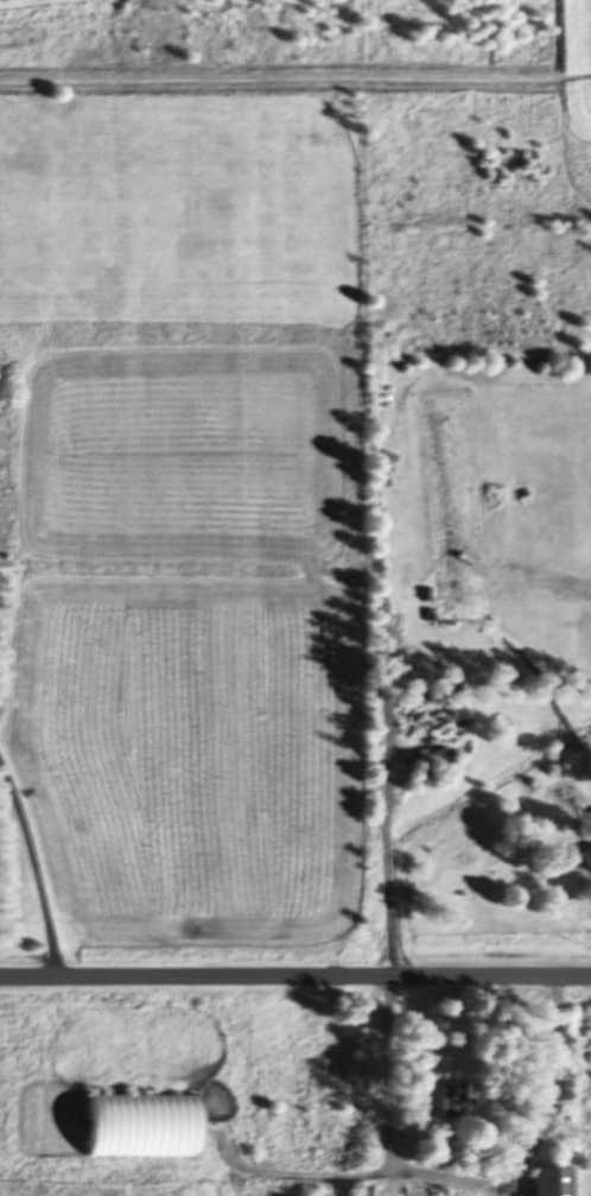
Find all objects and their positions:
building: (585, 855)
road: (295, 975)
building: (450, 1096)
building: (136, 1124)
building: (547, 1179)

